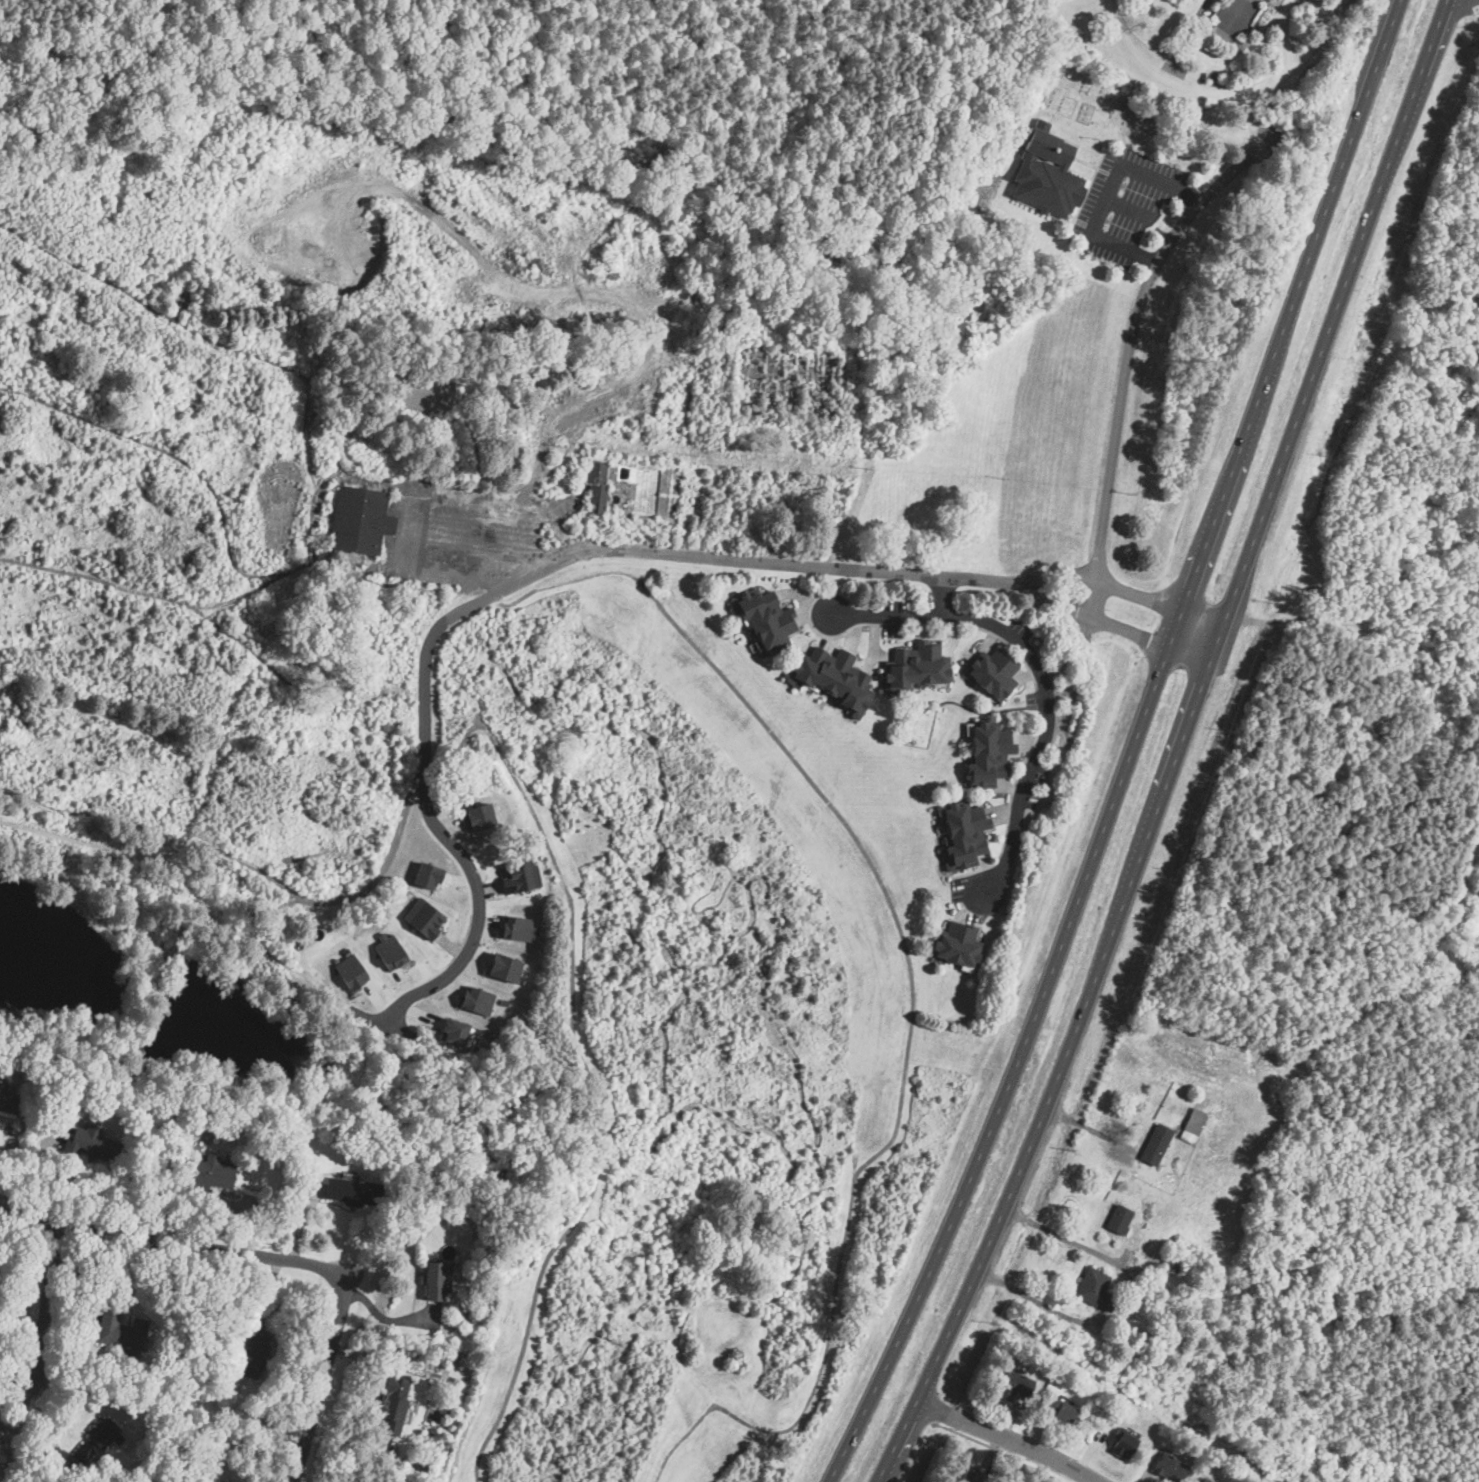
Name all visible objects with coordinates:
road: (1471, 2)
road: (1275, 6)
road: (1094, 8)
road: (1108, 14)
road: (1178, 38)
parking lot: (1131, 53)
road: (1303, 59)
road: (1152, 76)
road: (1256, 90)
park: (1117, 114)
road: (1253, 124)
building: (1000, 143)
road: (1074, 143)
road: (1085, 162)
road: (1071, 169)
building: (1046, 171)
road: (1107, 171)
road: (1087, 190)
road: (1109, 192)
park: (973, 193)
parking lot: (1125, 203)
road: (1129, 207)
road: (1044, 211)
road: (1069, 214)
road: (1285, 323)
road: (1126, 365)
park: (784, 381)
building: (594, 486)
building: (358, 520)
parking lot: (467, 533)
road: (506, 587)
road: (1128, 590)
road: (805, 598)
road: (805, 611)
road: (888, 614)
parking lot: (894, 617)
building: (765, 618)
road: (814, 618)
road: (894, 625)
road: (1118, 626)
road: (922, 627)
parking lot: (1021, 627)
road: (851, 630)
road: (826, 631)
road: (987, 631)
road: (817, 632)
road: (954, 638)
road: (990, 638)
road: (873, 641)
road: (868, 661)
building: (914, 666)
building: (991, 673)
road: (1026, 674)
building: (831, 679)
parking lot: (1033, 700)
road: (1038, 701)
road: (1033, 706)
road: (1048, 711)
road: (979, 712)
park: (916, 724)
road: (1178, 747)
building: (984, 753)
parking lot: (1041, 776)
road: (817, 787)
parking lot: (1032, 799)
road: (979, 803)
road: (1010, 808)
road: (1000, 812)
building: (479, 817)
road: (996, 818)
road: (991, 829)
building: (962, 833)
road: (383, 856)
road: (941, 859)
road: (985, 872)
road: (948, 873)
building: (427, 875)
building: (516, 876)
parking lot: (957, 889)
road: (963, 906)
road: (970, 908)
road: (969, 917)
building: (425, 918)
road: (946, 919)
building: (517, 928)
road: (979, 928)
building: (955, 945)
building: (389, 950)
building: (504, 967)
building: (351, 969)
building: (477, 999)
building: (454, 1030)
road: (1013, 1070)
building: (3, 1094)
building: (91, 1143)
building: (1156, 1144)
building: (213, 1172)
building: (354, 1191)
building: (1120, 1219)
road: (279, 1263)
building: (435, 1281)
building: (1095, 1289)
road: (48, 1307)
building: (121, 1333)
building: (253, 1355)
building: (1013, 1384)
road: (1014, 1397)
building: (392, 1405)
building: (1058, 1409)
road: (1012, 1417)
road: (1051, 1419)
road: (1039, 1430)
road: (1008, 1438)
building: (94, 1441)
building: (1119, 1445)
road: (989, 1451)
road: (1002, 1451)
road: (1018, 1463)
road: (978, 1466)
building: (1166, 1467)
building: (974, 1475)
building: (1206, 1480)
building: (223, 1481)
road: (1014, 1481)

